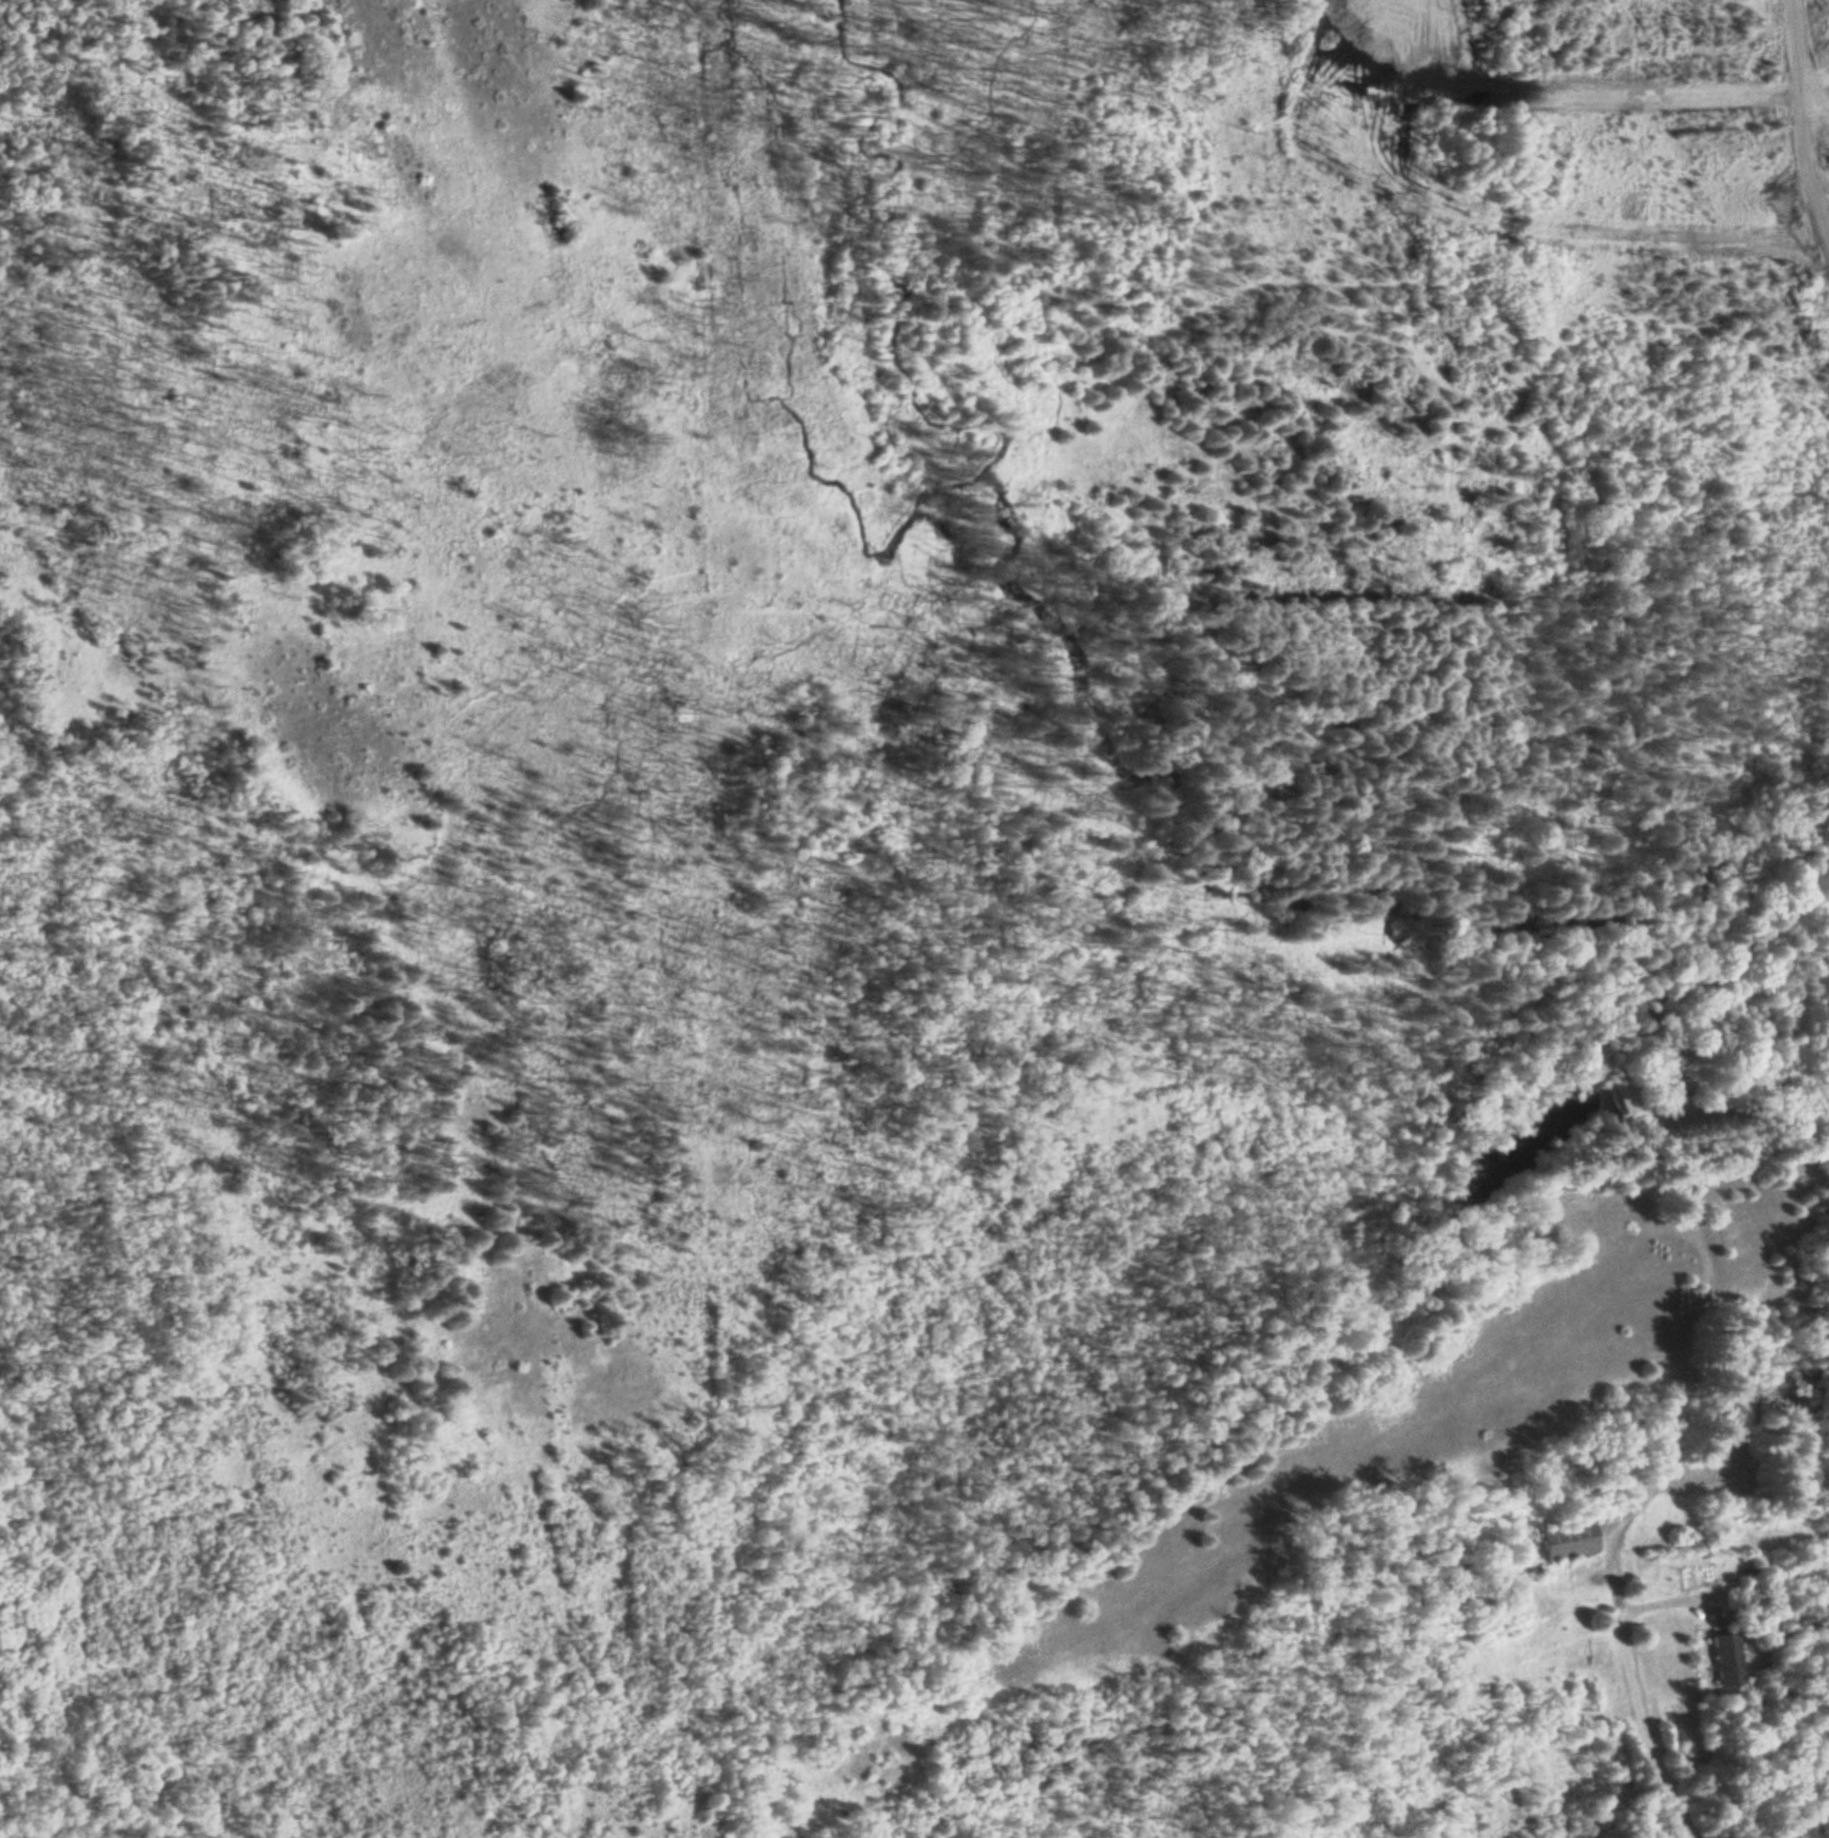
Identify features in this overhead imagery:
quarry: (1255, 289)
building: (1625, 1107)
building: (1570, 1214)
road: (1646, 1497)
building: (1567, 1543)
building: (1726, 1662)

